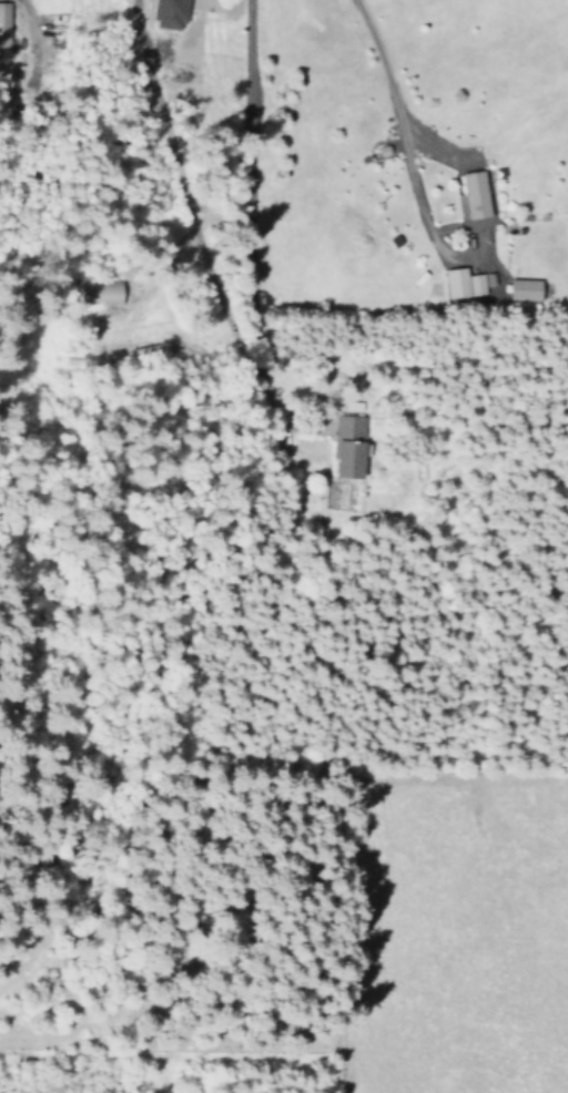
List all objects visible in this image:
building: (172, 13)
building: (4, 22)
building: (475, 194)
road: (194, 234)
building: (463, 283)
building: (526, 289)
building: (102, 292)
building: (349, 445)
crop: (461, 925)

